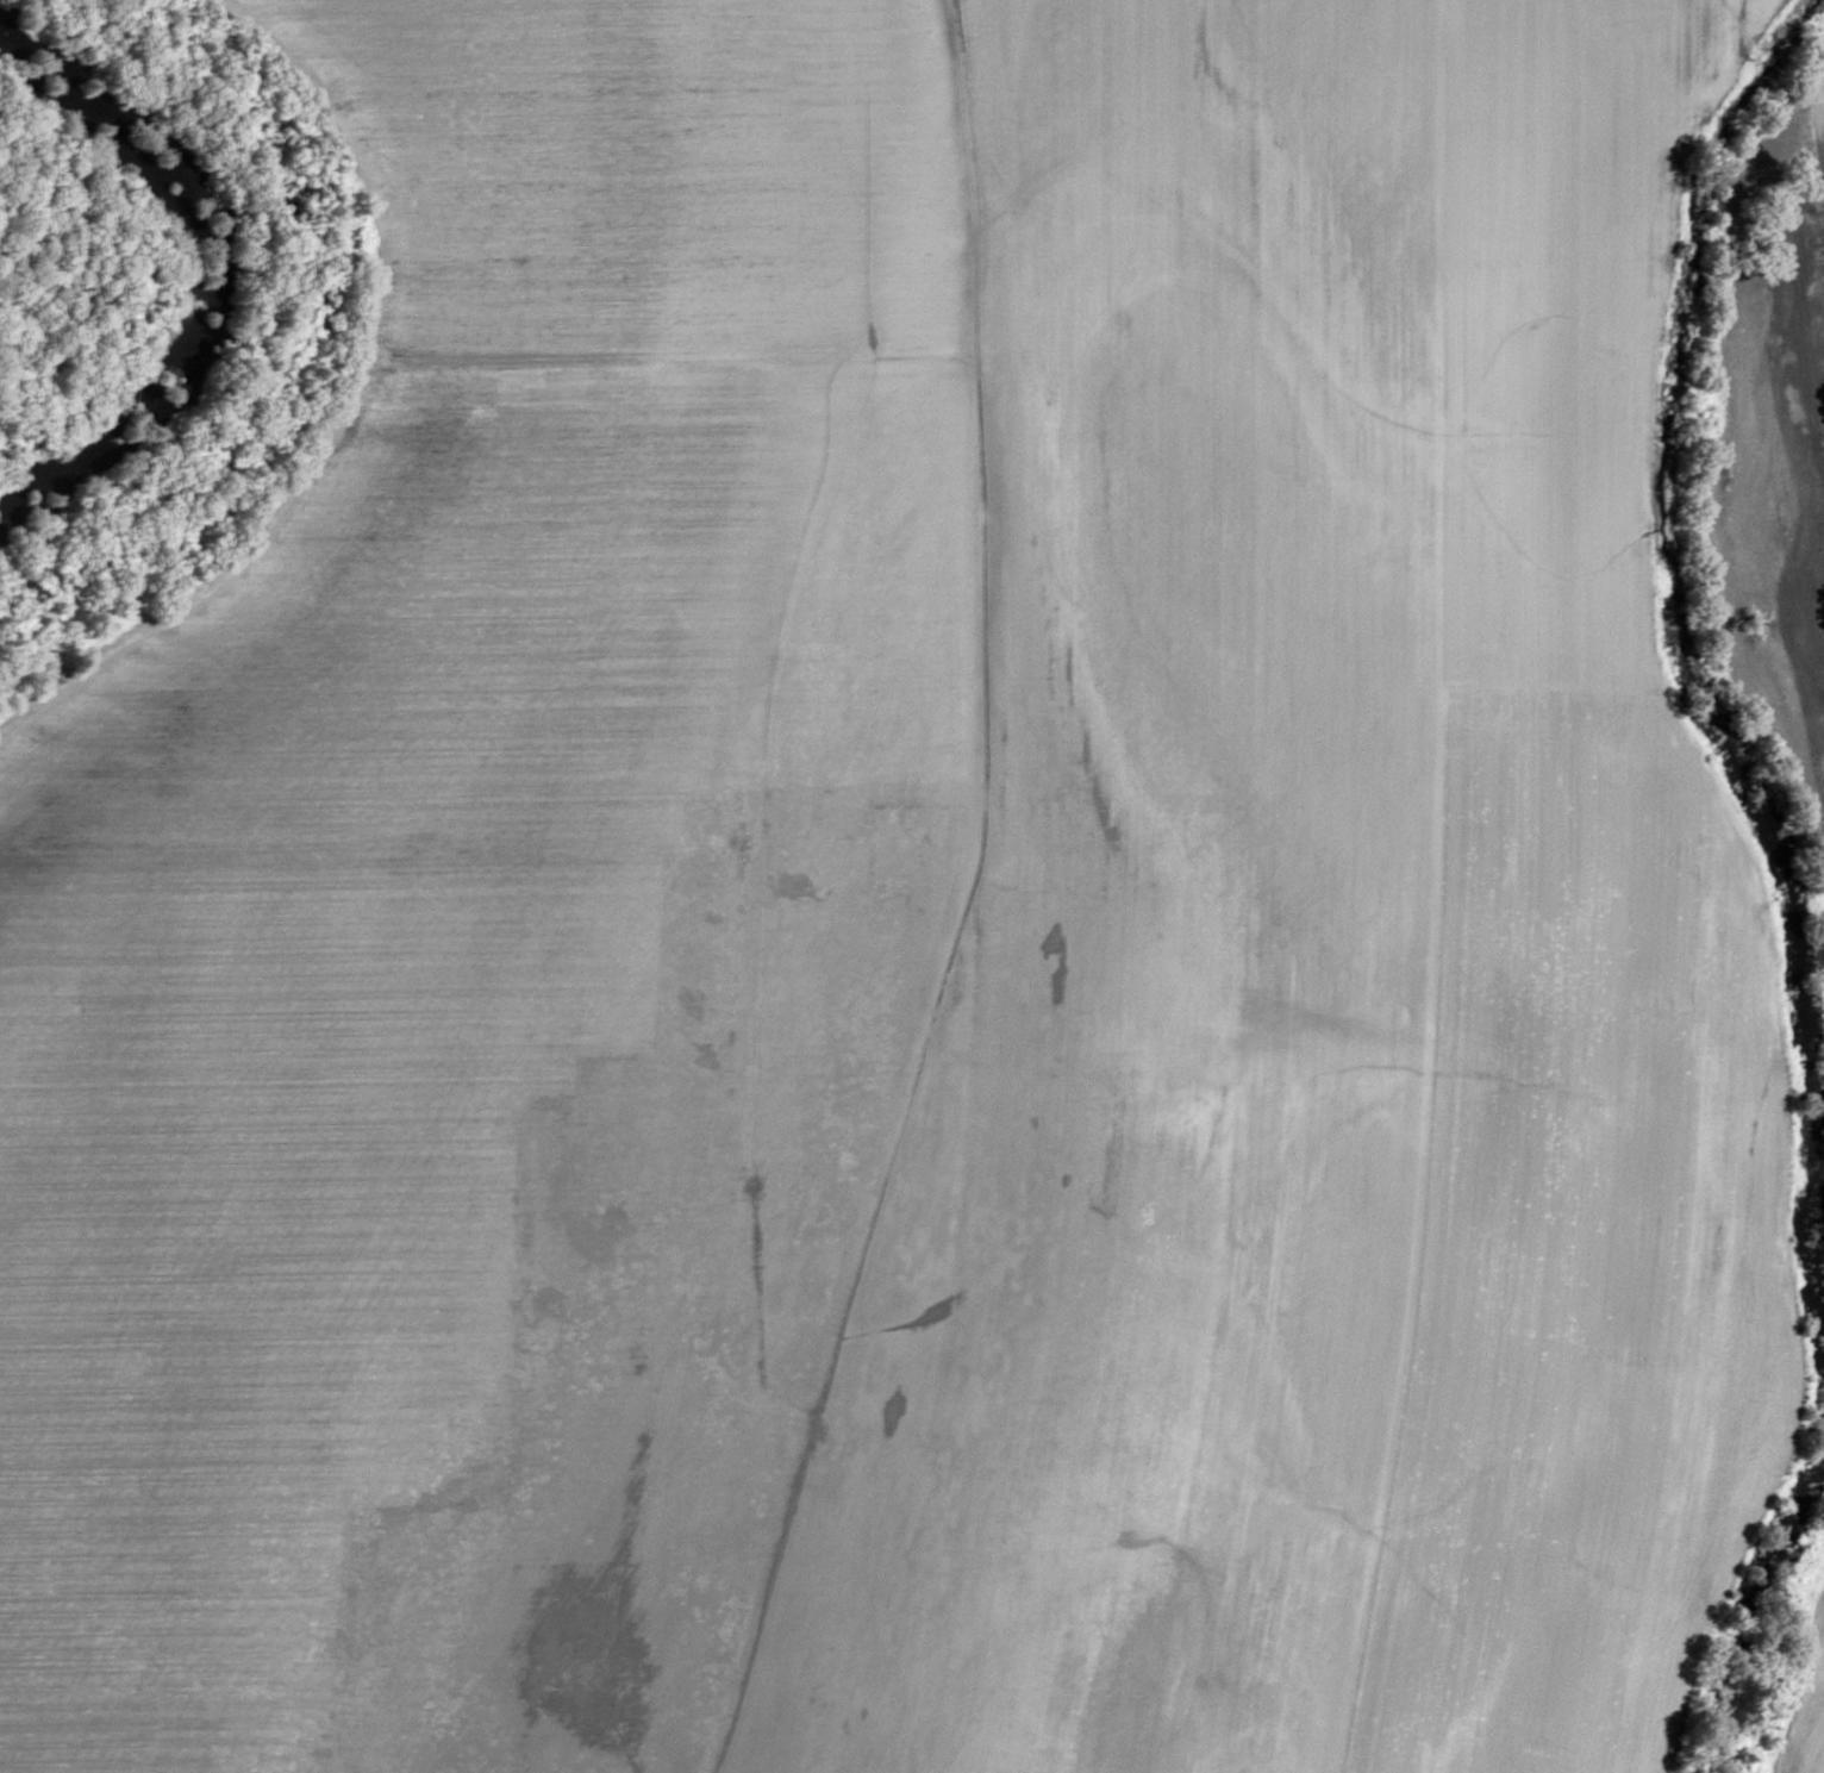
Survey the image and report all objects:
road: (332, 382)

